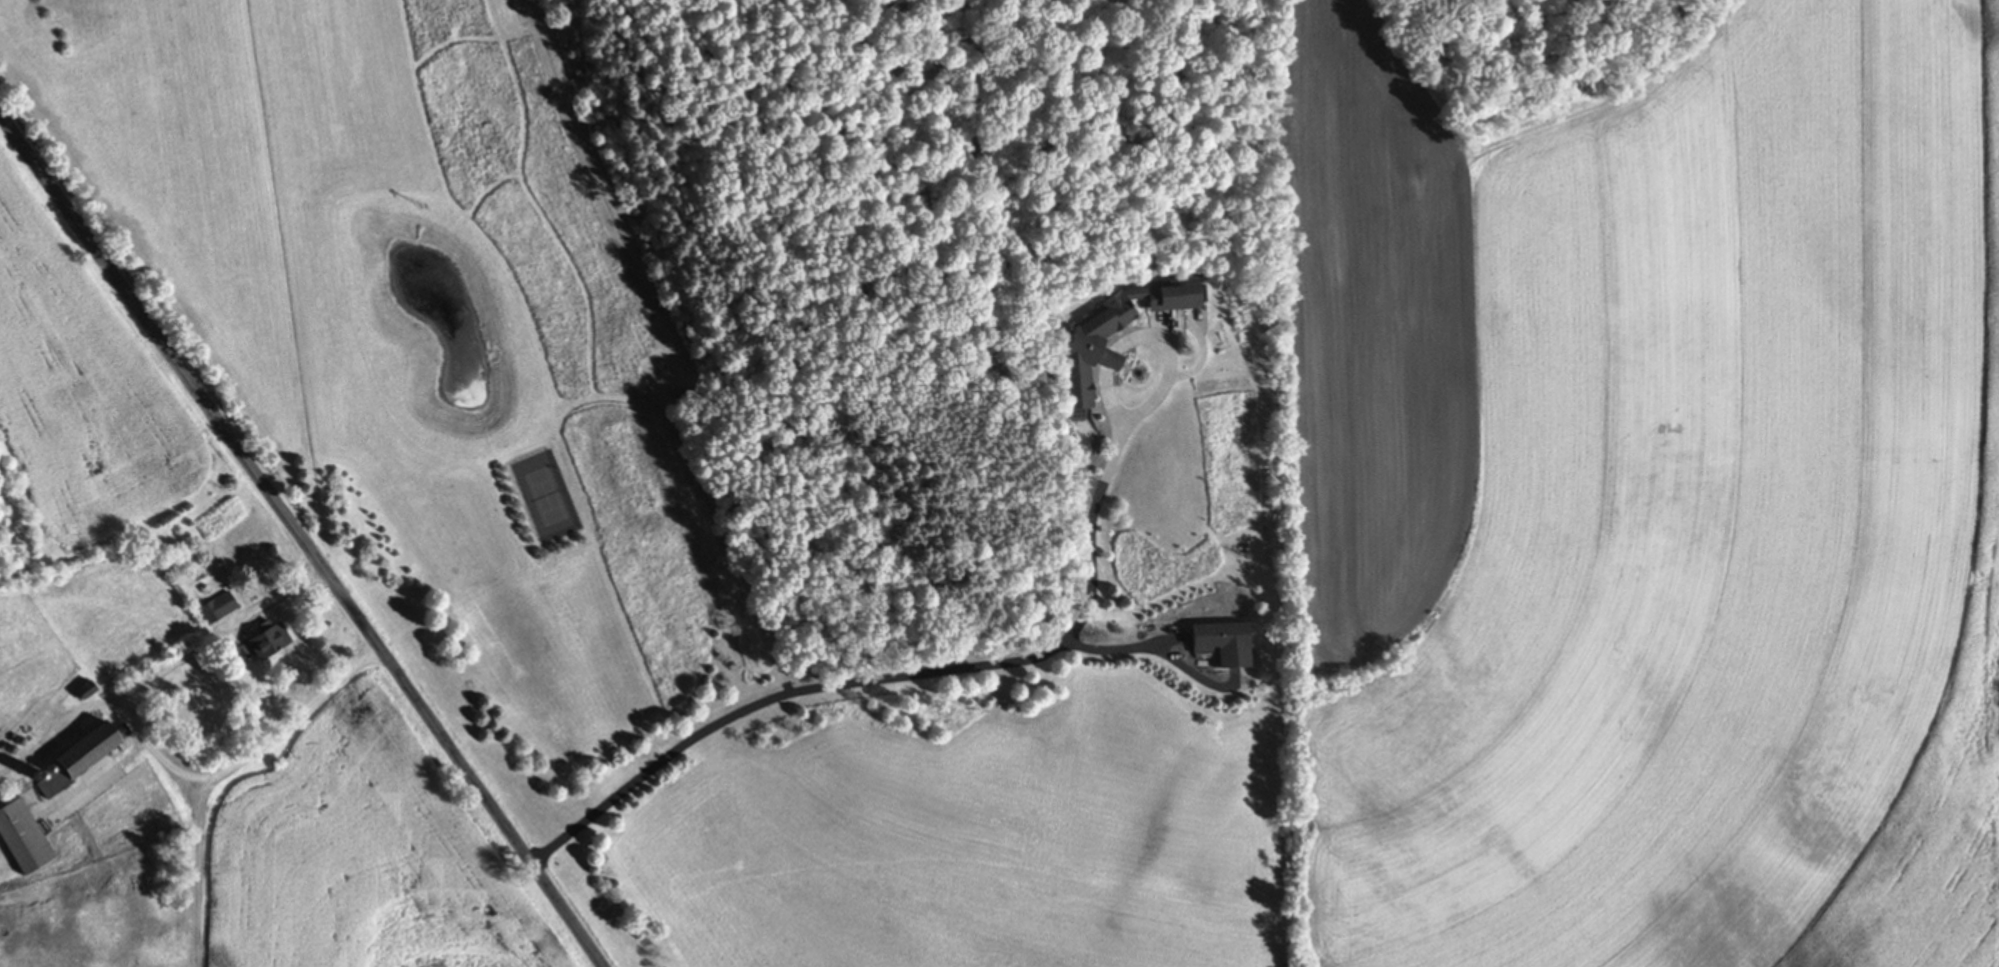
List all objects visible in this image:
building: (1083, 350)
park: (545, 496)
road: (300, 539)
building: (213, 607)
building: (262, 641)
building: (1219, 642)
road: (874, 678)
road: (150, 745)
building: (75, 755)
building: (20, 838)

